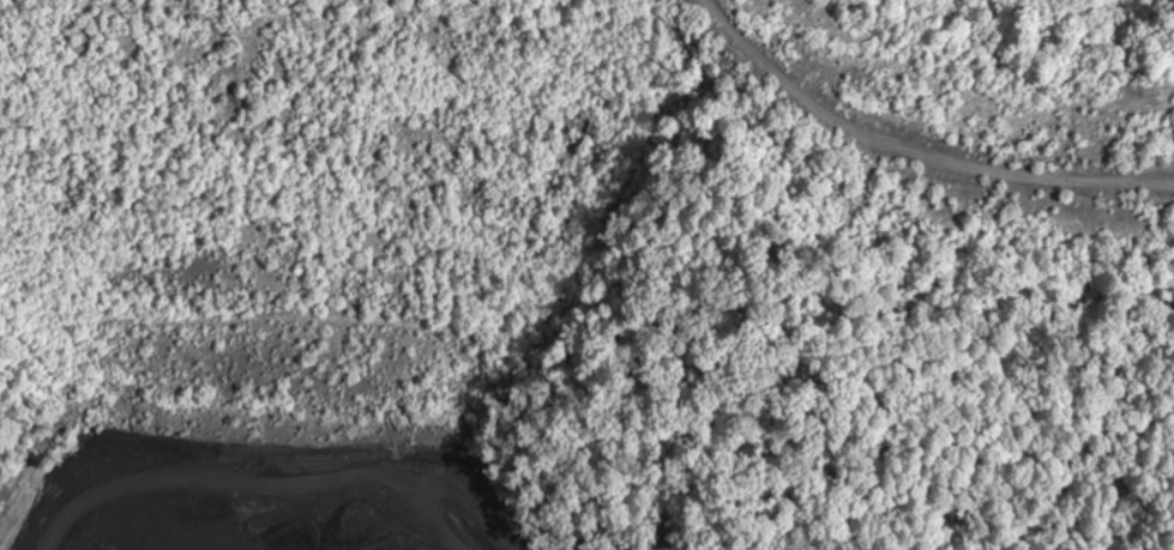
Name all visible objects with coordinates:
road: (809, 223)

